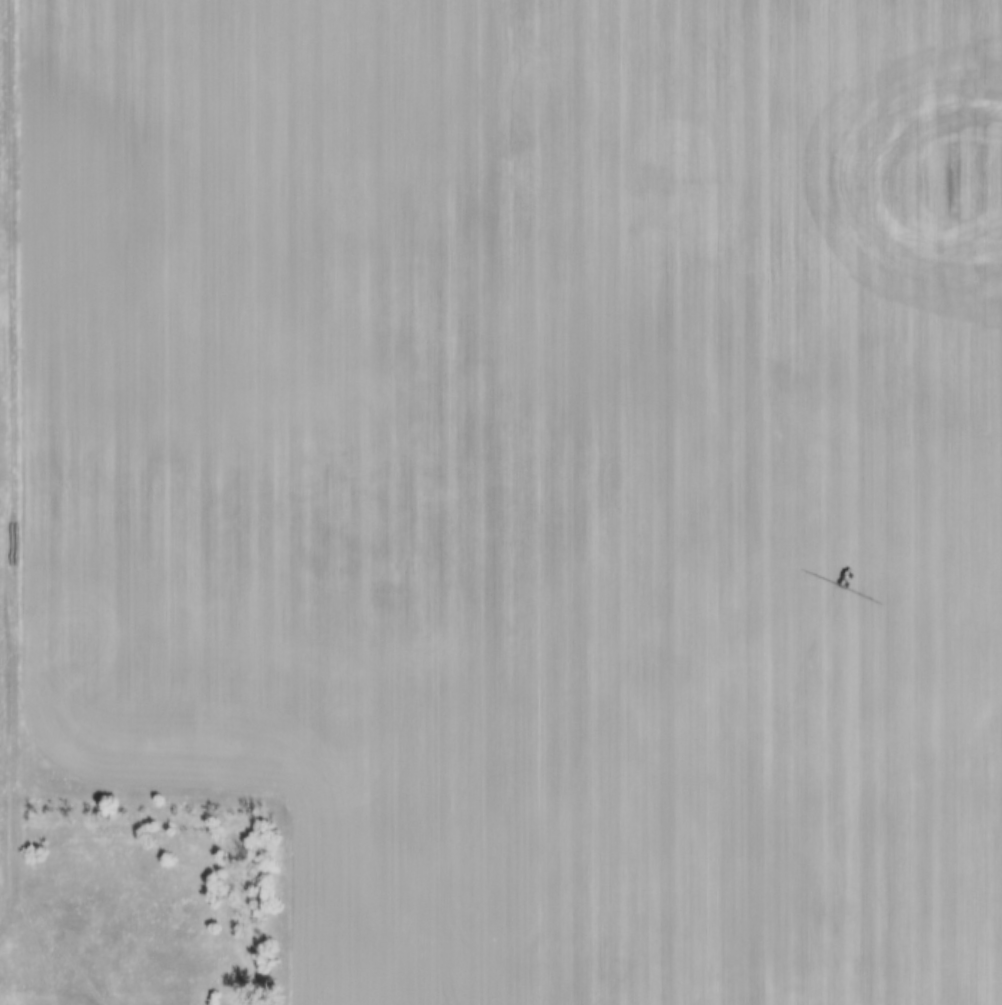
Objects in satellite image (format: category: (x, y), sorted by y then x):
road: (19, 517)

